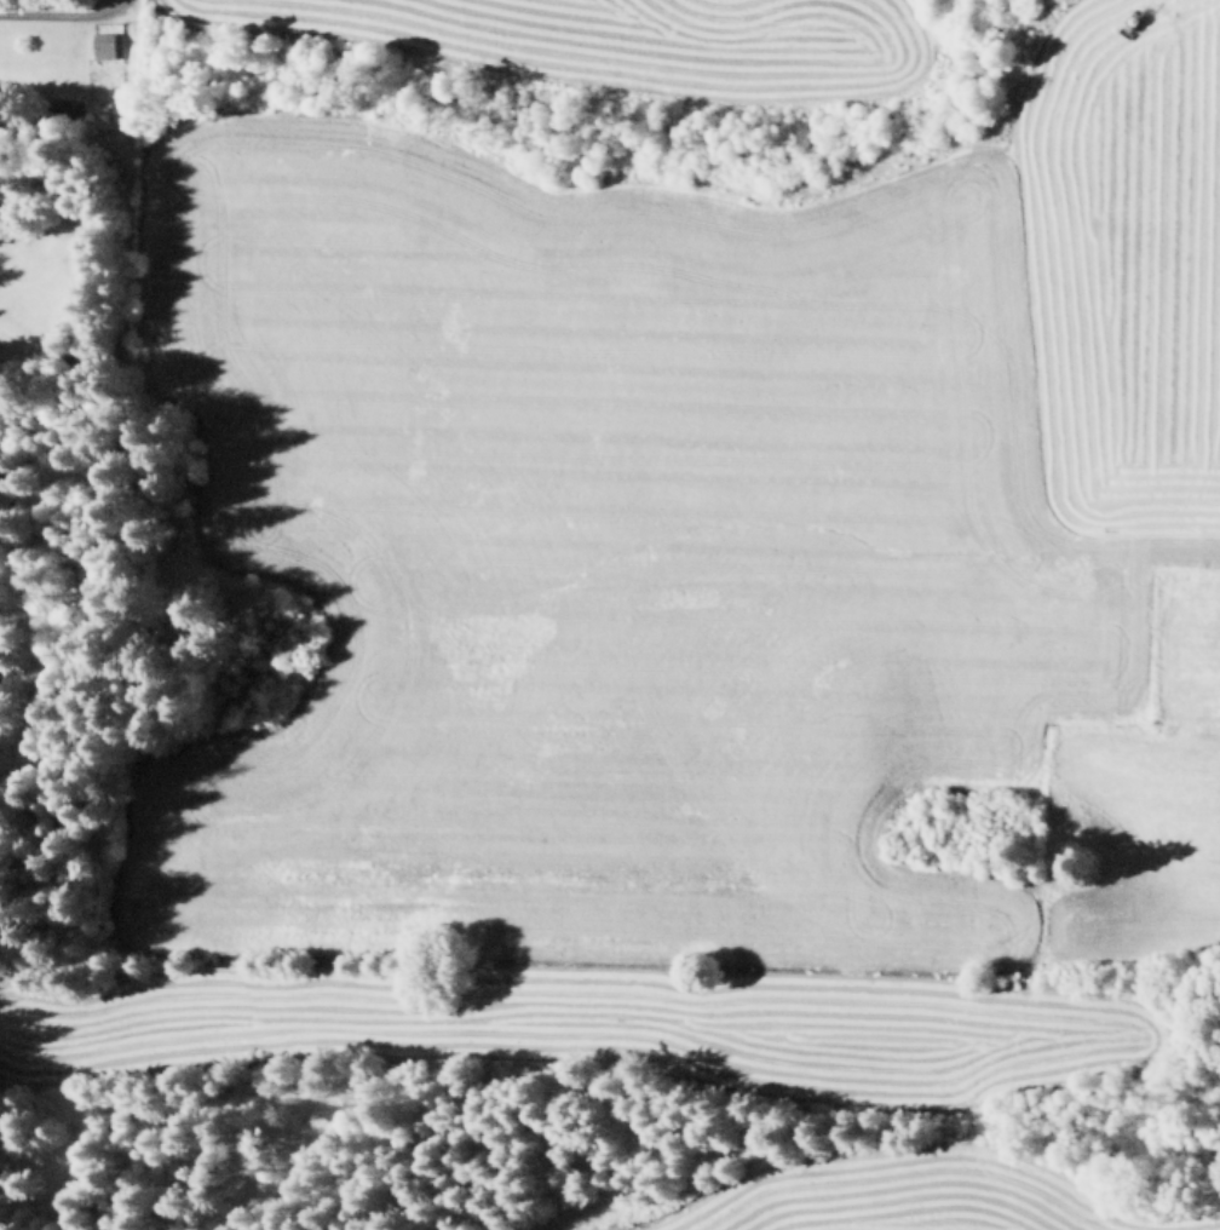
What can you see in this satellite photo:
road: (62, 12)
crop: (622, 39)
building: (99, 41)
crop: (1116, 268)
crop: (595, 630)
crop: (1191, 654)
crop: (1143, 843)
crop: (893, 1192)
crop: (1209, 1223)

